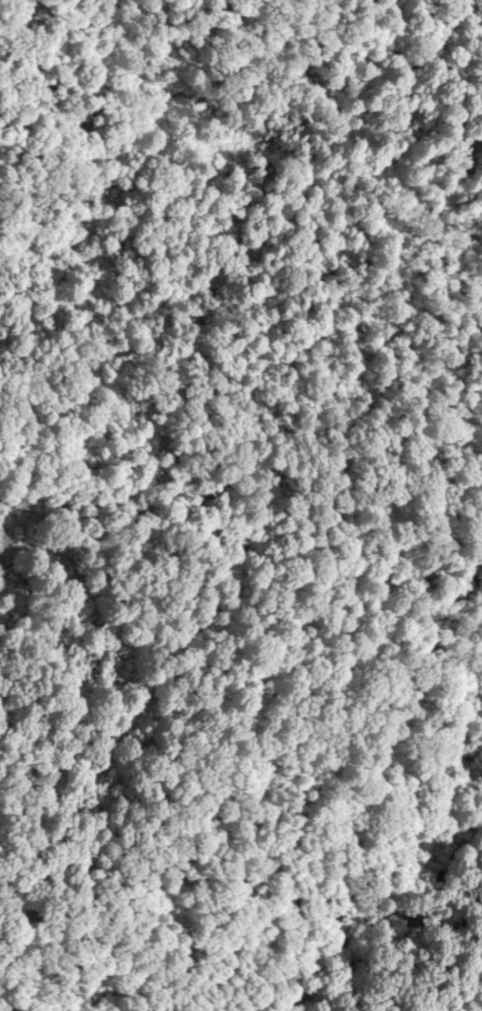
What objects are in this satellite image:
road: (244, 551)

